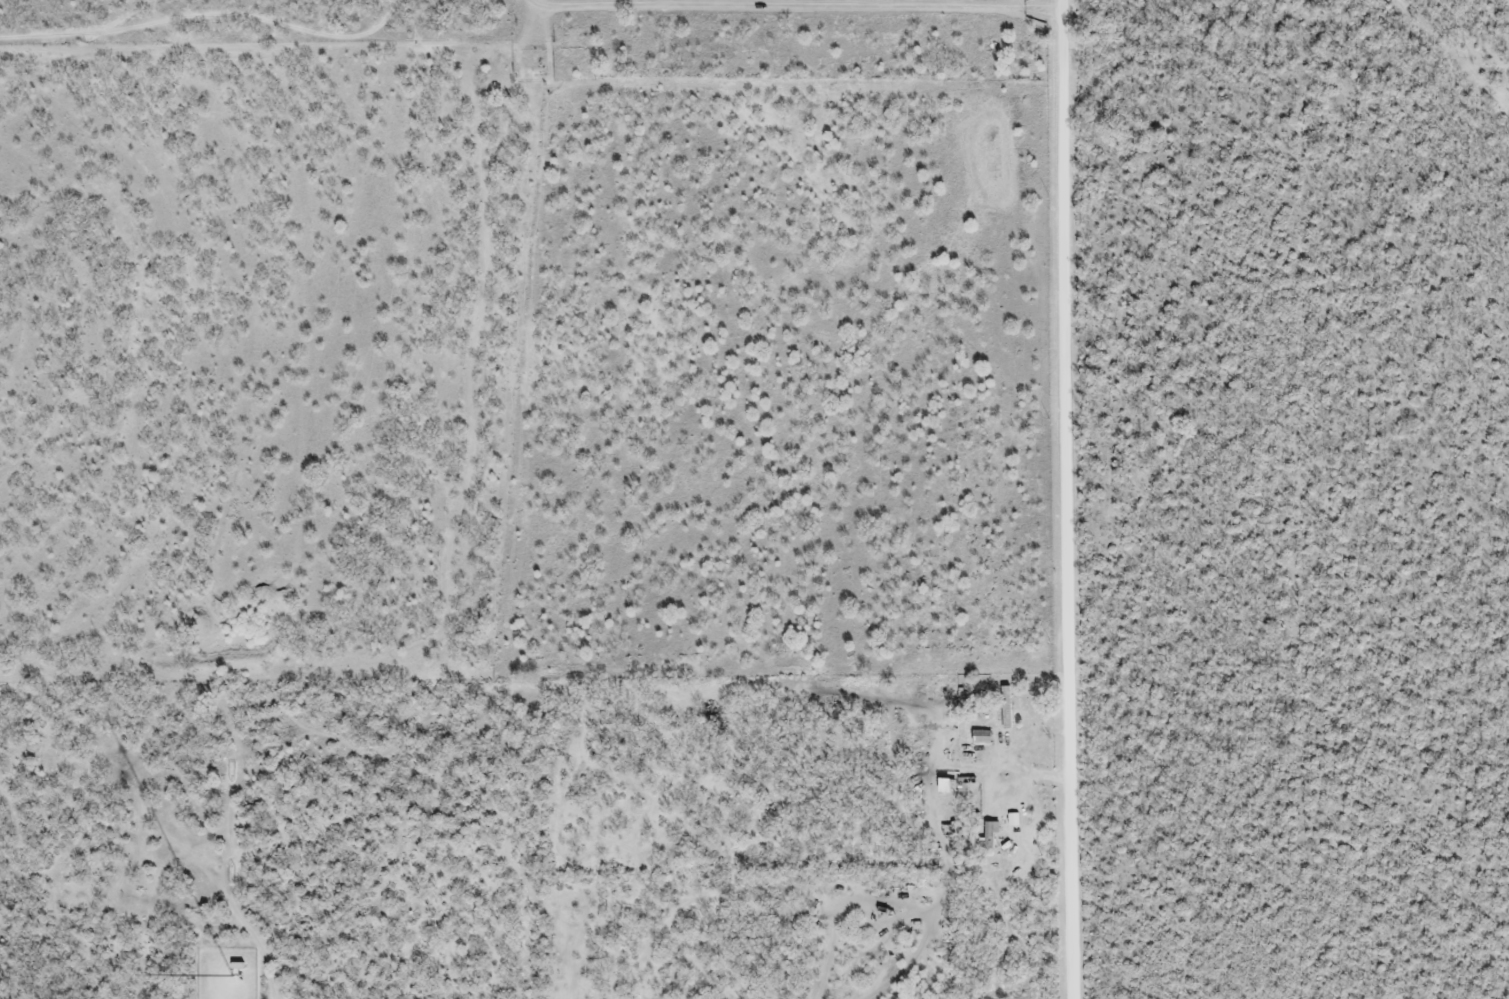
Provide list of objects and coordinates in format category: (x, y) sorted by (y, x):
road: (794, 6)
road: (1068, 499)
building: (1002, 711)
building: (978, 739)

